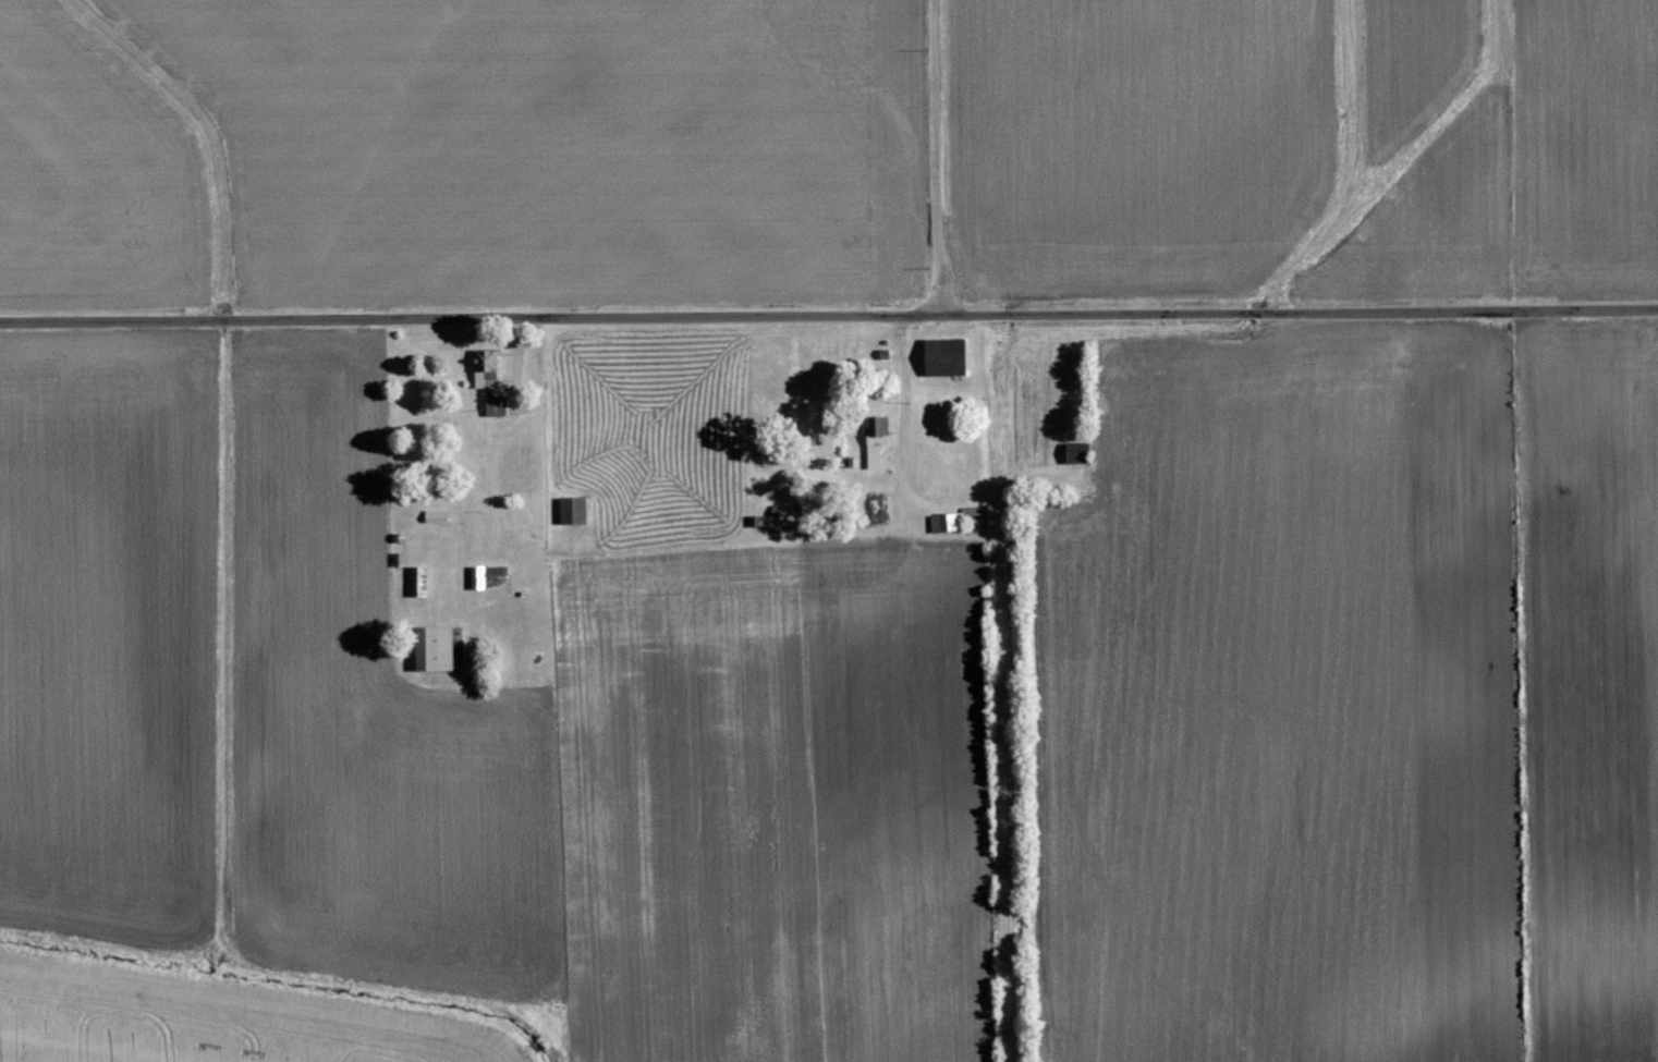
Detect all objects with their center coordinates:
road: (939, 155)
road: (828, 310)
building: (948, 358)
building: (879, 443)
building: (1078, 454)
building: (574, 512)
building: (946, 525)
building: (481, 579)
building: (436, 651)

